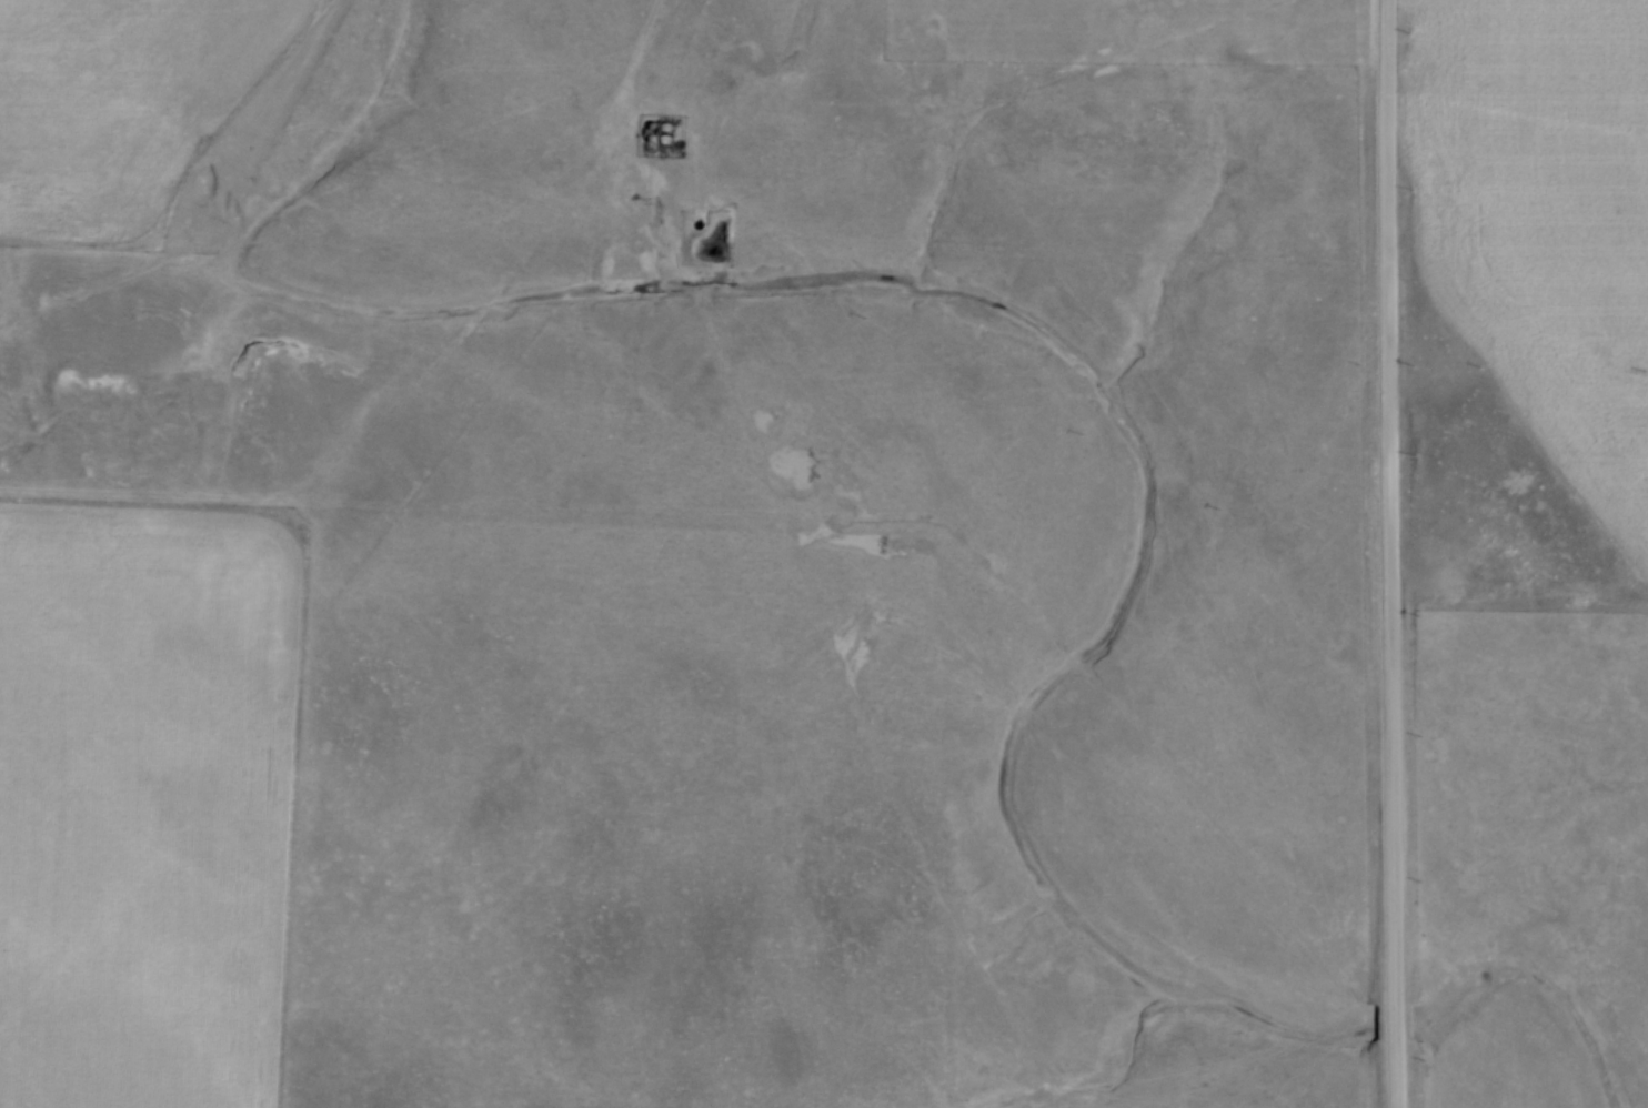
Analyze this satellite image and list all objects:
crop: (120, 104)
crop: (1543, 218)
road: (1393, 501)
crop: (145, 802)
road: (1399, 1021)
road: (1399, 1074)

